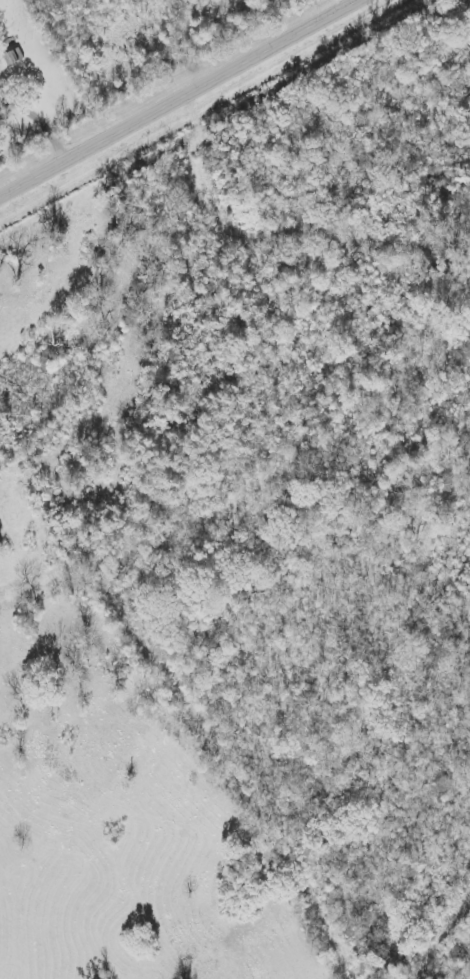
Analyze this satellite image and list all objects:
building: (11, 58)
road: (186, 101)
road: (41, 124)

